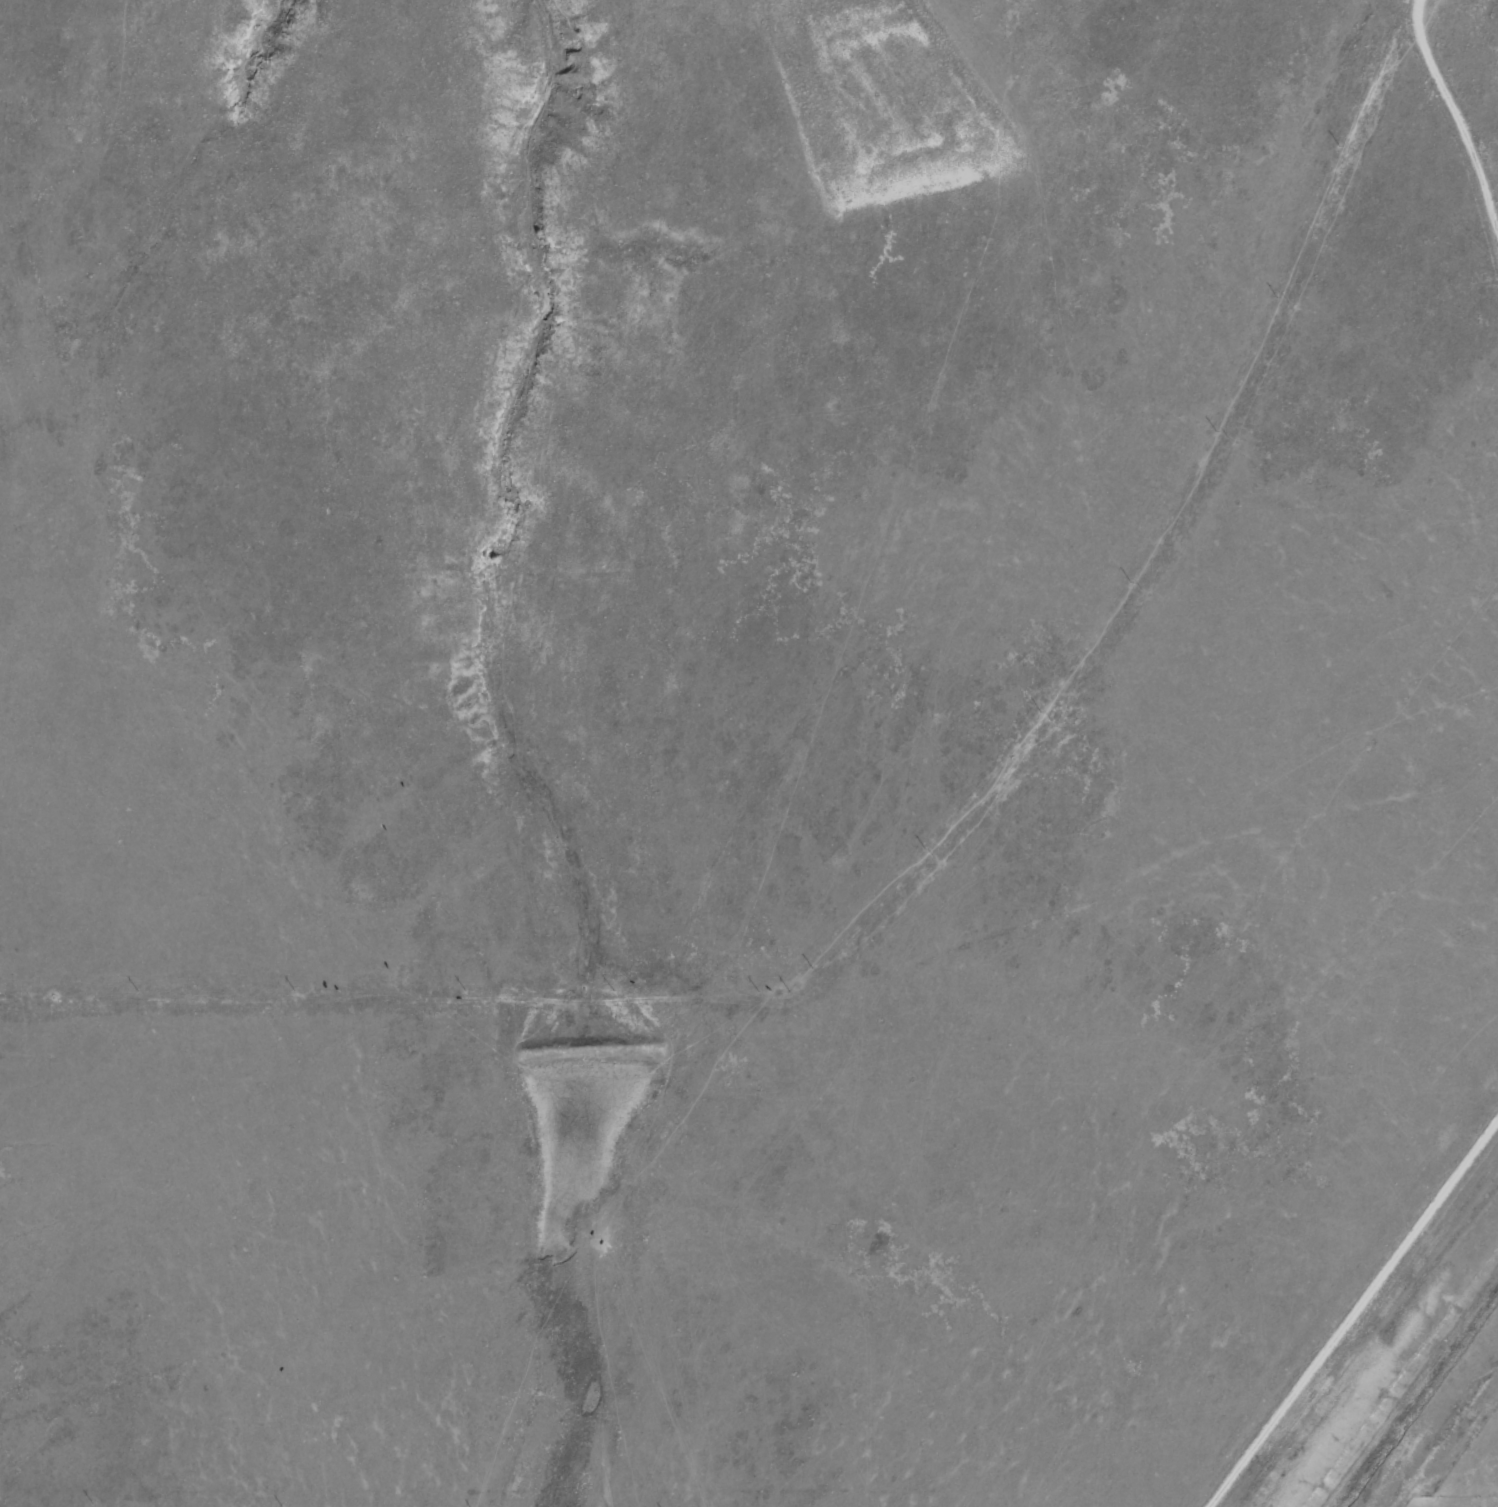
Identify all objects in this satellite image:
road: (1356, 1314)

